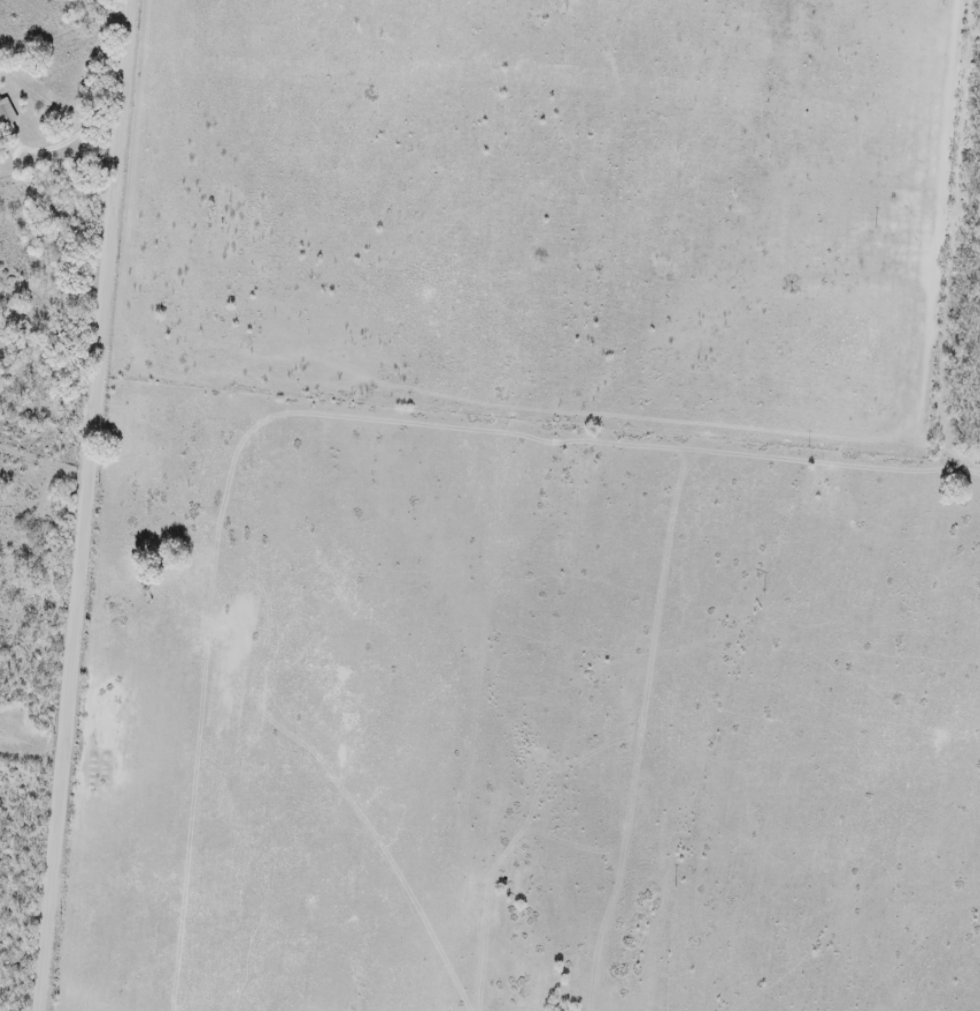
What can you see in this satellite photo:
building: (6, 113)
road: (70, 137)
road: (81, 505)

